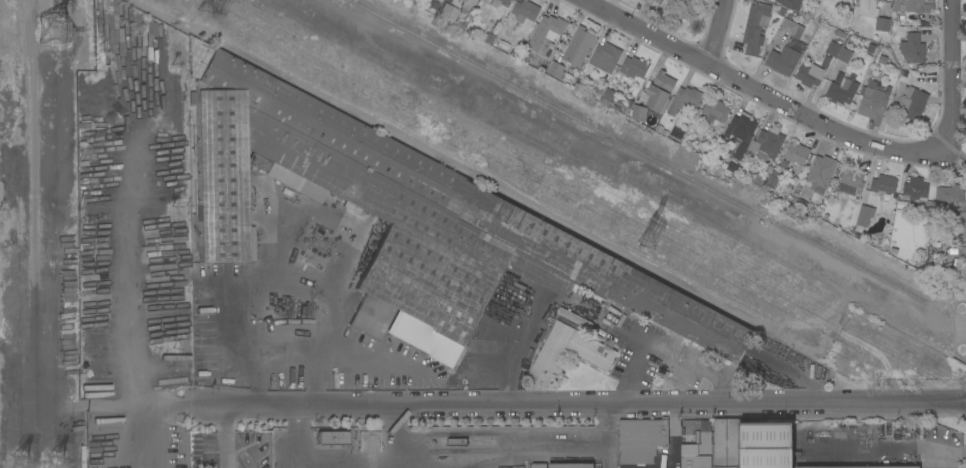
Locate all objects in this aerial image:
building: (658, 0)
building: (772, 0)
power tower: (209, 1)
building: (847, 1)
building: (503, 2)
building: (467, 4)
building: (791, 4)
building: (434, 5)
building: (913, 6)
building: (681, 7)
building: (524, 11)
building: (448, 13)
building: (873, 14)
building: (755, 27)
building: (546, 31)
road: (715, 32)
power tower: (59, 34)
building: (487, 38)
building: (502, 43)
building: (579, 46)
building: (517, 48)
building: (870, 48)
building: (787, 49)
building: (912, 49)
building: (845, 55)
building: (604, 57)
building: (882, 59)
building: (633, 67)
building: (555, 70)
building: (809, 74)
building: (839, 77)
building: (659, 91)
building: (841, 91)
building: (607, 97)
building: (684, 99)
building: (871, 103)
building: (913, 103)
building: (626, 108)
building: (715, 111)
building: (638, 113)
building: (659, 128)
road: (828, 130)
building: (664, 133)
building: (739, 134)
building: (766, 143)
building: (690, 145)
building: (797, 154)
railway: (647, 157)
building: (784, 163)
building: (732, 167)
building: (820, 170)
building: (853, 178)
building: (759, 180)
building: (771, 182)
building: (883, 184)
building: (915, 189)
building: (807, 192)
building: (949, 193)
building: (864, 216)
building: (402, 220)
power tower: (651, 233)
building: (324, 252)
road: (282, 286)
building: (574, 318)
building: (205, 331)
building: (591, 351)
road: (414, 369)
road: (504, 369)
road: (628, 379)
road: (796, 379)
road: (716, 385)
road: (586, 402)
road: (153, 415)
road: (302, 430)
road: (398, 430)
road: (228, 434)
building: (333, 438)
building: (642, 440)
building: (757, 445)
road: (495, 452)
building: (697, 452)
power tower: (27, 462)
road: (307, 463)
power tower: (61, 464)
building: (539, 465)
building: (571, 465)

